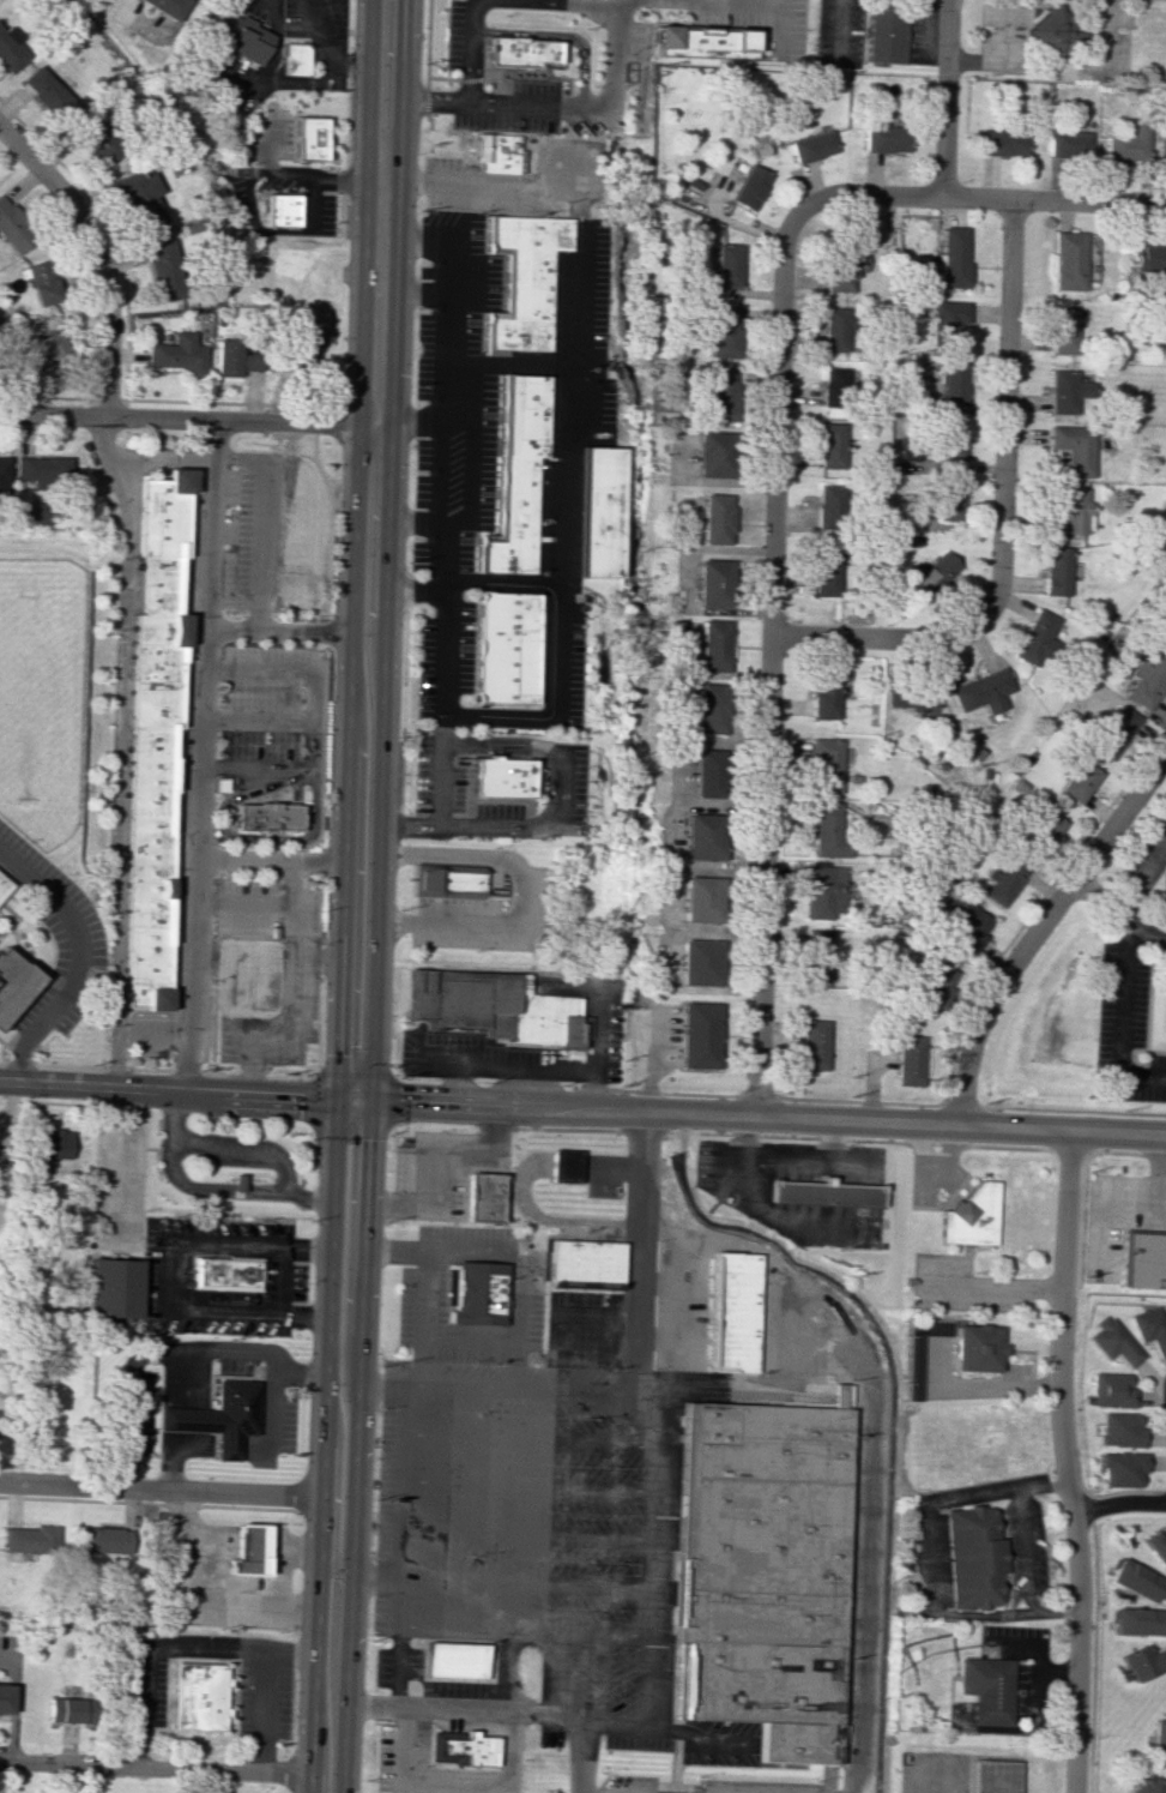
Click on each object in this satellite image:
building: (170, 8)
road: (622, 8)
road: (785, 24)
road: (838, 31)
building: (884, 34)
road: (561, 35)
building: (1051, 35)
road: (1107, 35)
building: (235, 36)
road: (428, 40)
building: (700, 41)
road: (923, 42)
road: (611, 43)
building: (10, 50)
road: (471, 50)
building: (516, 52)
building: (294, 59)
road: (343, 62)
road: (1007, 62)
road: (398, 74)
road: (369, 76)
road: (439, 79)
road: (292, 82)
road: (240, 84)
building: (44, 92)
road: (946, 96)
road: (503, 104)
building: (96, 138)
building: (308, 138)
building: (883, 138)
road: (270, 140)
building: (1002, 142)
building: (1067, 144)
building: (811, 146)
building: (1125, 146)
building: (1161, 149)
building: (494, 154)
road: (346, 156)
road: (252, 174)
road: (496, 183)
building: (749, 187)
road: (308, 194)
building: (140, 199)
road: (1053, 199)
building: (279, 209)
building: (13, 228)
road: (108, 231)
road: (412, 236)
road: (97, 254)
building: (954, 257)
building: (1148, 257)
building: (1068, 260)
building: (727, 265)
building: (163, 270)
building: (840, 272)
building: (42, 282)
building: (519, 282)
road: (379, 283)
road: (411, 297)
building: (946, 323)
building: (1062, 330)
building: (724, 331)
building: (834, 331)
building: (307, 341)
building: (40, 350)
building: (177, 354)
building: (235, 359)
road: (520, 361)
building: (838, 383)
building: (951, 383)
building: (1068, 392)
building: (723, 395)
road: (47, 398)
road: (108, 399)
road: (230, 403)
road: (186, 417)
road: (315, 420)
road: (407, 423)
building: (950, 440)
building: (832, 445)
building: (1074, 447)
road: (110, 453)
road: (270, 453)
building: (714, 455)
road: (493, 465)
building: (42, 469)
building: (510, 477)
building: (2, 479)
building: (949, 499)
building: (830, 507)
building: (1074, 509)
building: (599, 512)
building: (40, 513)
road: (441, 513)
building: (715, 518)
road: (1001, 519)
road: (554, 525)
road: (425, 530)
road: (472, 554)
road: (262, 566)
building: (1057, 571)
building: (826, 572)
building: (930, 578)
road: (471, 582)
road: (501, 582)
building: (713, 583)
road: (771, 585)
road: (416, 588)
road: (449, 603)
road: (418, 604)
road: (313, 616)
road: (235, 630)
road: (188, 633)
building: (1037, 637)
building: (1165, 638)
building: (714, 645)
building: (497, 648)
road: (466, 675)
park: (36, 680)
building: (1147, 682)
building: (983, 691)
building: (826, 692)
building: (913, 700)
road: (125, 703)
road: (404, 708)
building: (711, 708)
road: (259, 720)
road: (312, 727)
building: (1114, 732)
building: (155, 736)
road: (176, 742)
road: (203, 754)
road: (530, 760)
building: (827, 763)
building: (707, 771)
building: (494, 780)
road: (464, 781)
building: (1079, 781)
road: (441, 786)
road: (528, 790)
road: (313, 794)
road: (490, 801)
building: (262, 814)
road: (319, 814)
building: (1043, 828)
building: (827, 830)
building: (703, 836)
road: (242, 837)
road: (315, 840)
road: (198, 847)
road: (218, 856)
road: (206, 860)
parking lot: (1144, 860)
road: (270, 861)
building: (1004, 880)
building: (446, 883)
building: (4, 889)
building: (823, 891)
road: (519, 894)
building: (699, 899)
road: (241, 908)
road: (1118, 913)
road: (18, 917)
road: (5, 922)
building: (966, 923)
road: (1035, 928)
road: (5, 929)
parking lot: (55, 939)
road: (1144, 949)
road: (77, 950)
road: (1122, 951)
building: (817, 955)
building: (700, 962)
road: (986, 973)
building: (12, 982)
building: (936, 986)
building: (1165, 991)
road: (296, 998)
road: (1147, 1003)
road: (211, 1004)
building: (490, 1007)
parking lot: (1126, 1027)
road: (127, 1034)
building: (699, 1035)
road: (6, 1045)
building: (811, 1045)
road: (1138, 1049)
road: (10, 1057)
road: (1144, 1057)
building: (907, 1060)
road: (119, 1069)
road: (1142, 1073)
road: (673, 1093)
road: (759, 1094)
traffic signals: (334, 1099)
traffic signals: (369, 1100)
road: (959, 1105)
road: (333, 1106)
road: (368, 1106)
road: (582, 1108)
road: (1074, 1111)
road: (566, 1129)
road: (641, 1132)
road: (858, 1139)
road: (829, 1141)
building: (53, 1144)
road: (241, 1153)
road: (428, 1153)
road: (1069, 1153)
road: (1125, 1153)
road: (947, 1154)
road: (795, 1159)
road: (922, 1160)
road: (126, 1162)
building: (562, 1167)
building: (238, 1183)
road: (204, 1191)
building: (822, 1195)
building: (481, 1197)
road: (1129, 1199)
road: (1164, 1205)
road: (766, 1209)
building: (971, 1215)
road: (638, 1253)
building: (1144, 1259)
building: (585, 1264)
road: (475, 1265)
road: (174, 1274)
building: (225, 1274)
road: (998, 1287)
building: (113, 1288)
building: (475, 1293)
road: (556, 1312)
building: (727, 1312)
road: (515, 1316)
road: (447, 1320)
road: (443, 1322)
building: (1152, 1328)
building: (1114, 1341)
building: (977, 1347)
road: (167, 1348)
road: (582, 1364)
road: (380, 1388)
building: (1112, 1390)
road: (518, 1394)
building: (217, 1415)
road: (277, 1422)
building: (1122, 1430)
road: (528, 1438)
road: (870, 1440)
road: (170, 1442)
road: (225, 1444)
road: (1068, 1462)
building: (1123, 1468)
road: (158, 1484)
road: (528, 1486)
road: (654, 1502)
road: (1119, 1502)
road: (526, 1535)
building: (30, 1539)
building: (107, 1540)
building: (1159, 1542)
building: (248, 1550)
road: (1023, 1551)
building: (972, 1557)
road: (925, 1558)
road: (677, 1568)
building: (760, 1574)
road: (373, 1577)
building: (1138, 1581)
road: (525, 1583)
building: (1140, 1620)
road: (401, 1623)
road: (578, 1631)
road: (599, 1649)
road: (205, 1651)
road: (289, 1656)
building: (454, 1659)
building: (1143, 1661)
road: (1037, 1674)
building: (987, 1689)
building: (198, 1696)
building: (4, 1697)
road: (648, 1708)
building: (67, 1710)
road: (464, 1710)
road: (694, 1738)
building: (1160, 1740)
building: (460, 1747)
road: (582, 1755)
road: (155, 1765)
road: (672, 1765)
building: (993, 1776)
road: (453, 1782)
building: (1150, 1783)
road: (681, 1786)

